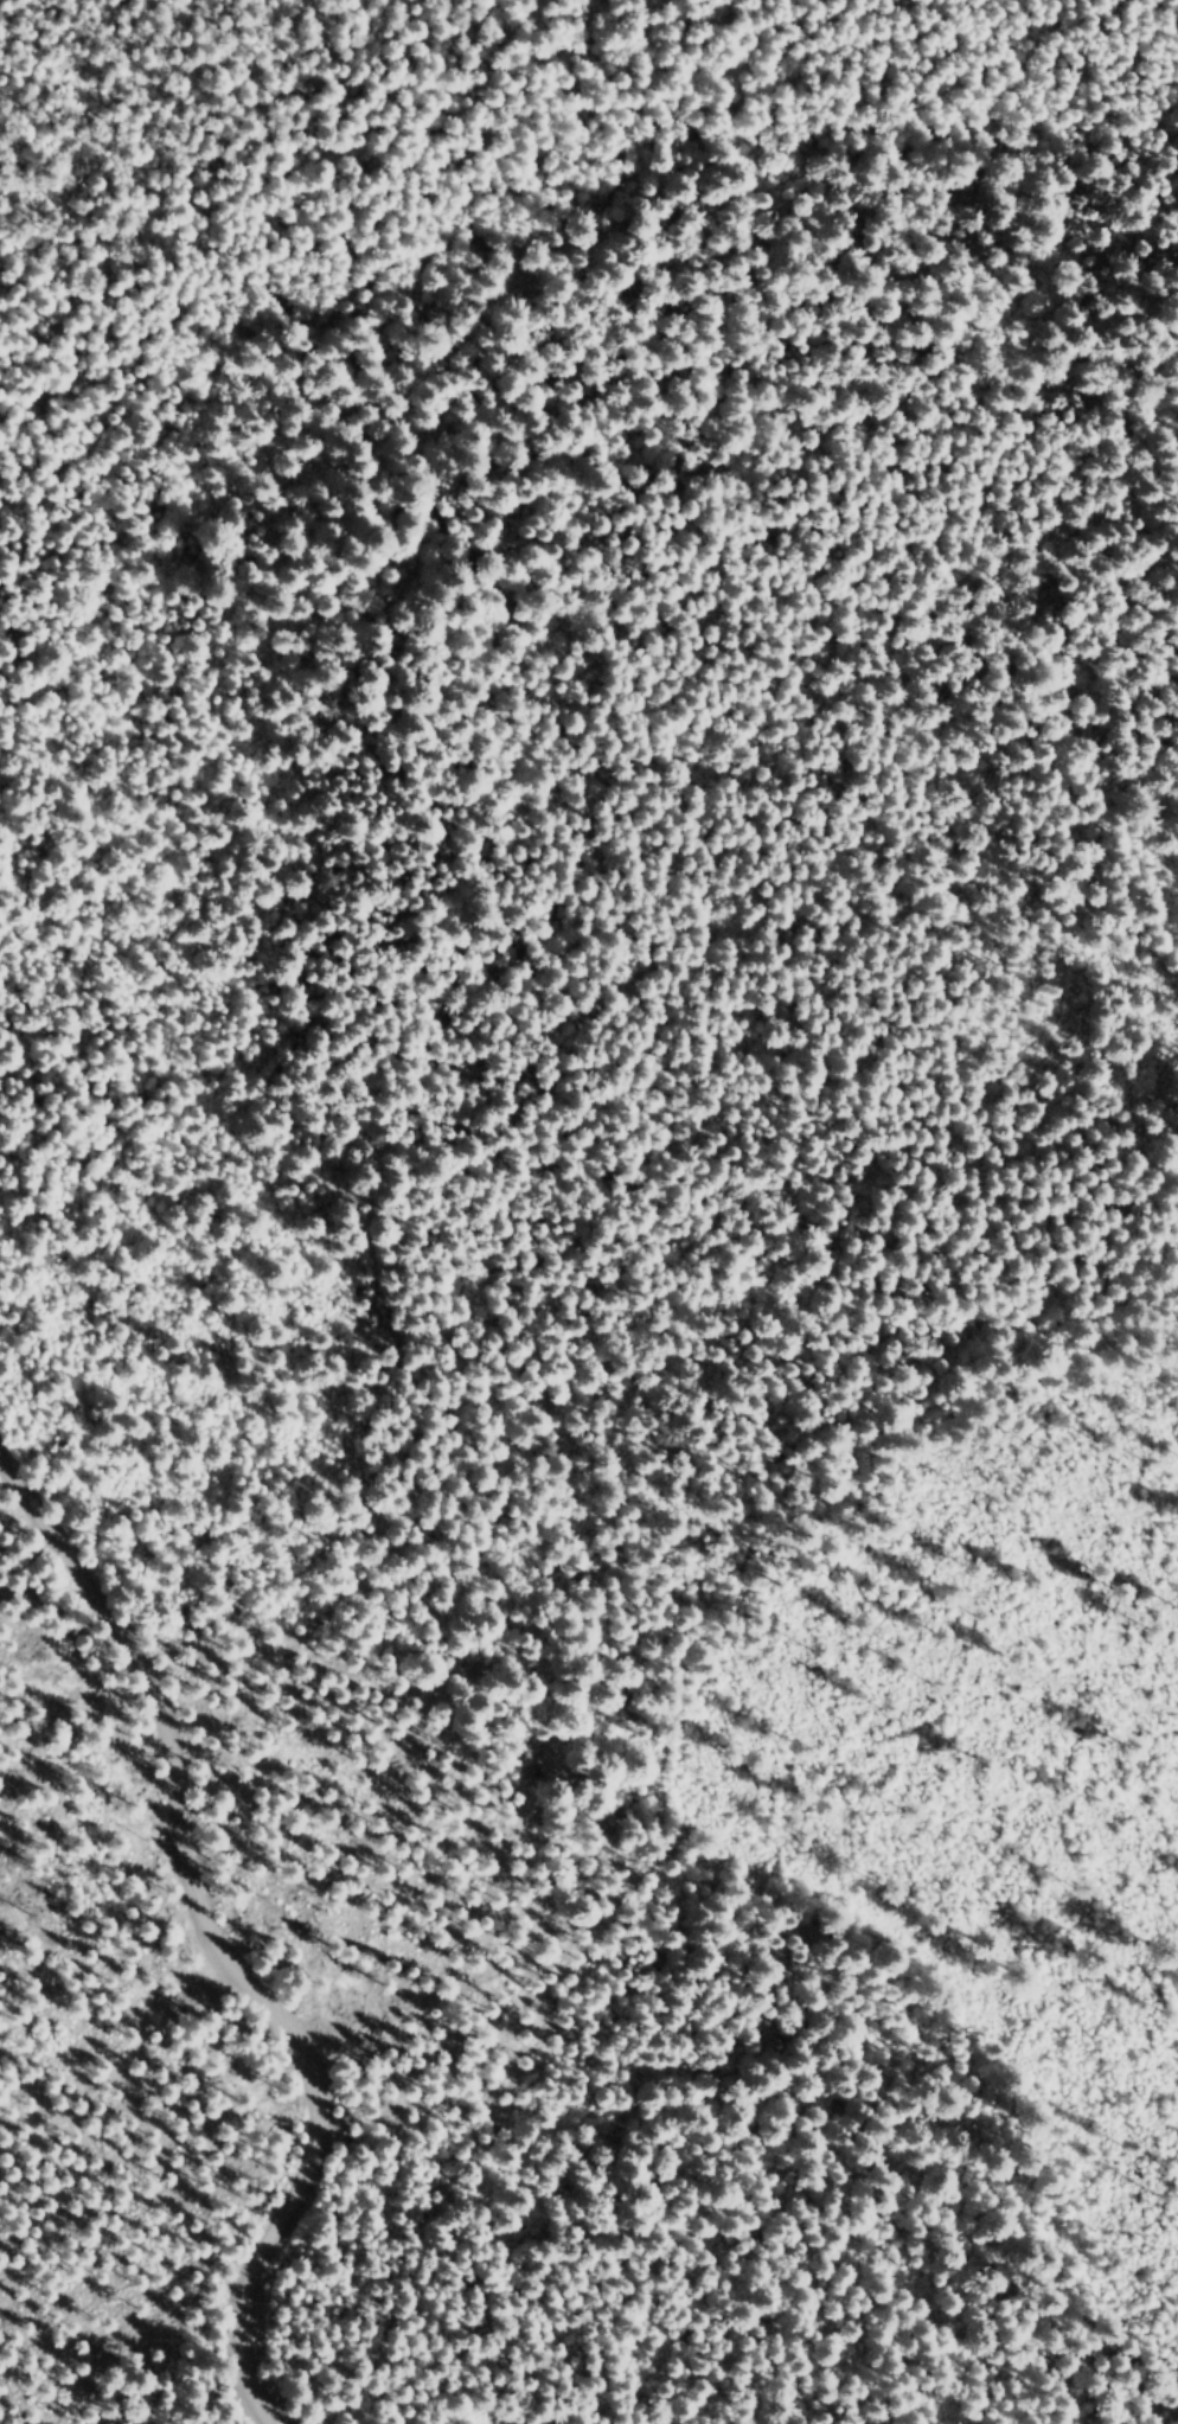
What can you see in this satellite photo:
road: (235, 1991)

